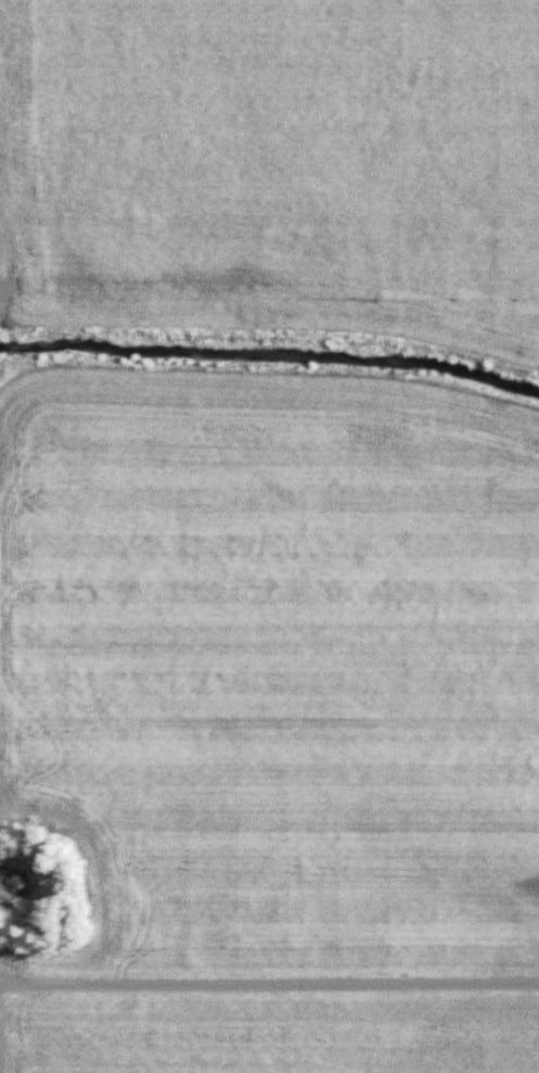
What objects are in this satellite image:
river: (271, 359)
road: (269, 988)

